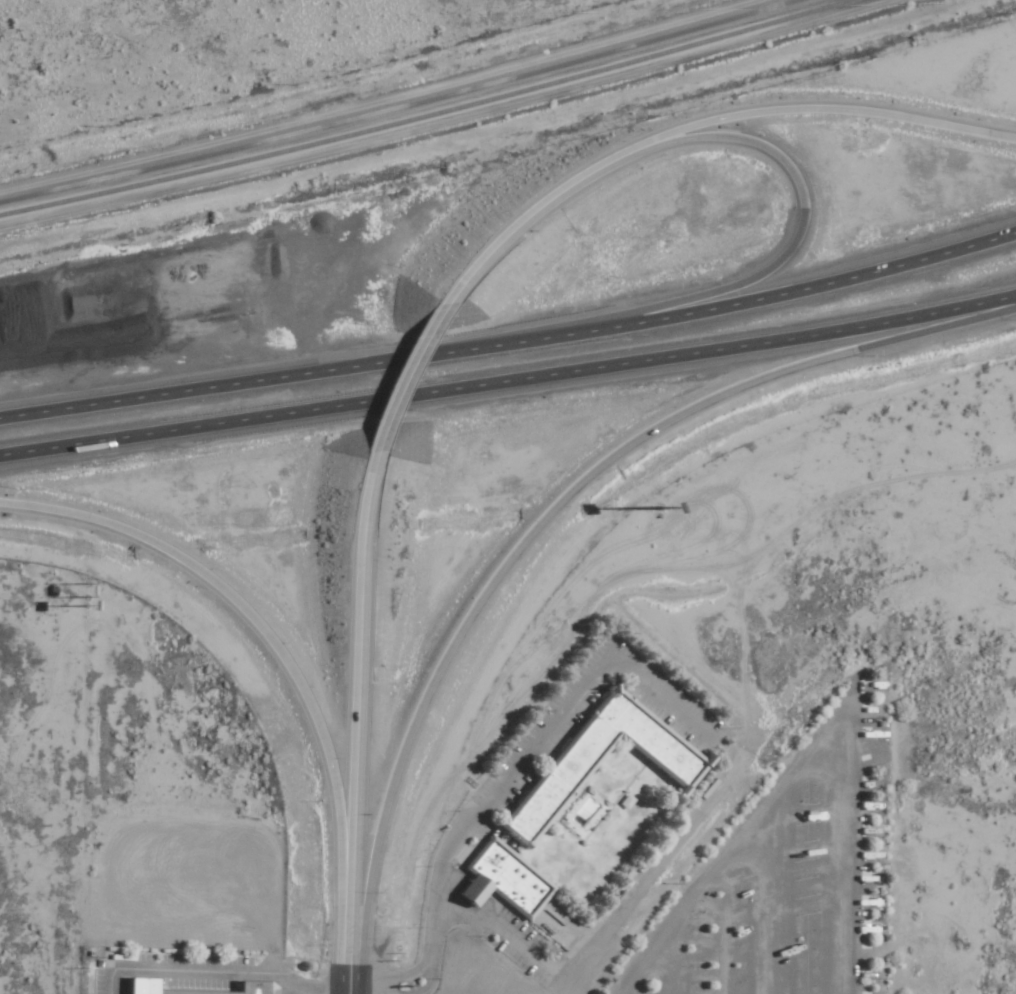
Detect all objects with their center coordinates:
road: (813, 107)
railway: (398, 108)
railway: (426, 116)
road: (508, 120)
road: (539, 207)
road: (773, 264)
road: (511, 339)
road: (418, 357)
road: (509, 380)
road: (552, 506)
road: (279, 650)
road: (358, 707)
road: (807, 764)
building: (569, 776)
road: (500, 790)
building: (507, 881)
road: (348, 980)
road: (427, 982)
building: (153, 985)

